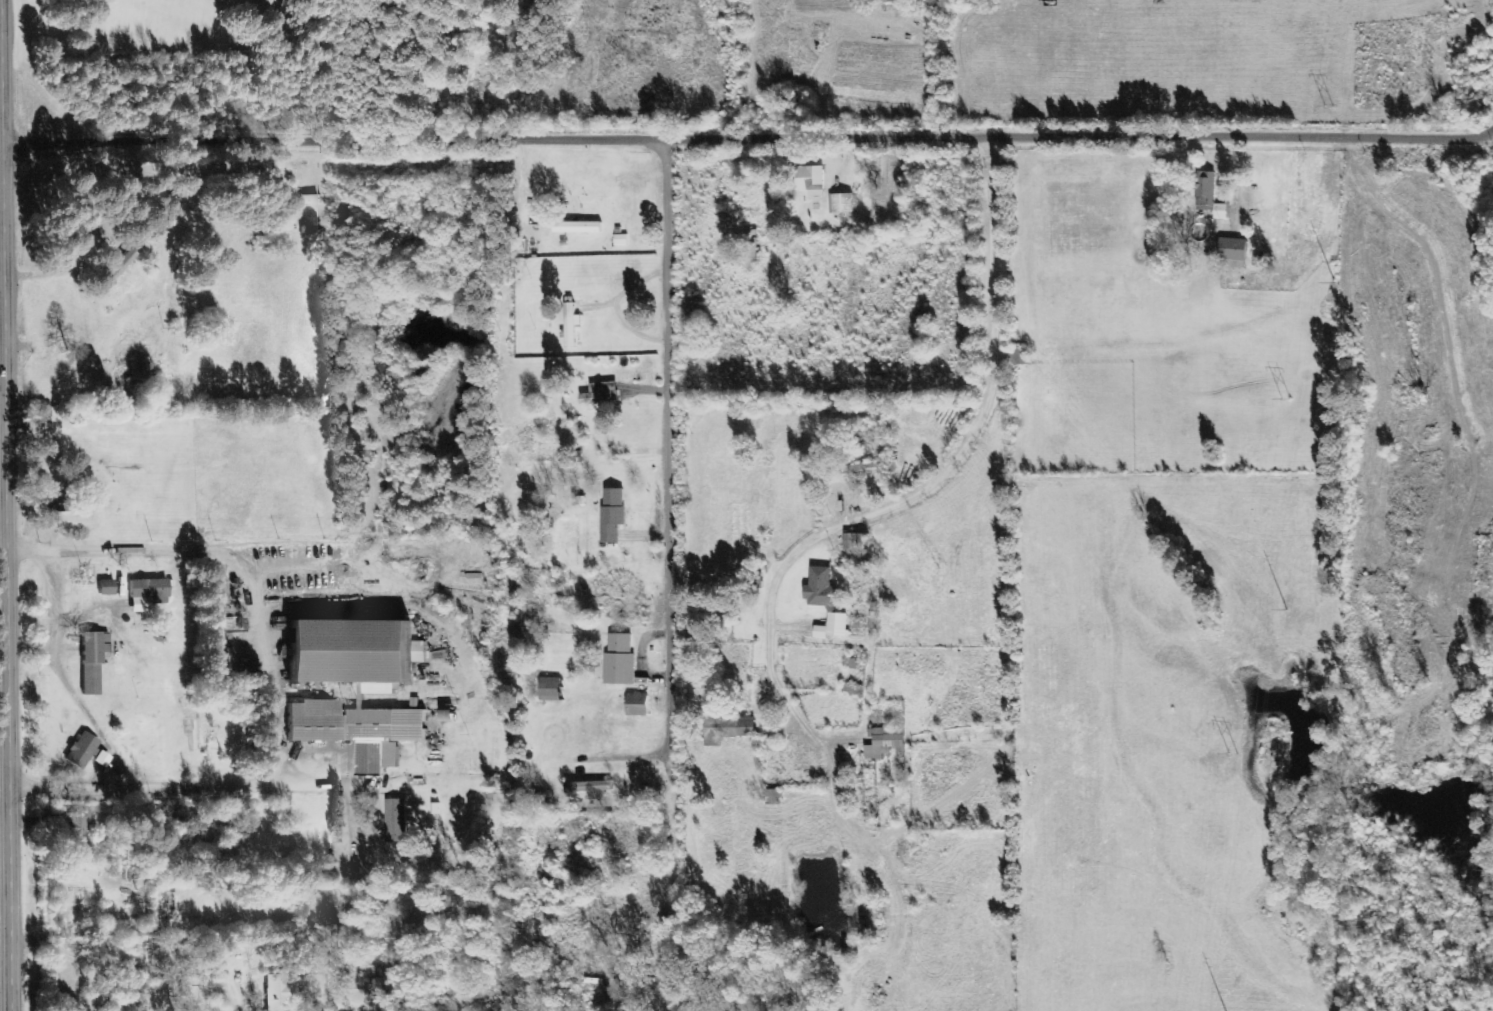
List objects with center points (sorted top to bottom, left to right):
road: (746, 138)
building: (810, 180)
building: (302, 200)
building: (840, 203)
building: (576, 227)
building: (620, 240)
building: (1233, 249)
building: (115, 269)
building: (571, 325)
building: (134, 374)
building: (600, 393)
building: (858, 468)
road: (676, 475)
road: (940, 487)
building: (612, 514)
building: (856, 542)
road: (4, 579)
building: (103, 588)
building: (821, 589)
building: (144, 594)
building: (833, 627)
building: (619, 660)
building: (90, 661)
building: (549, 689)
building: (360, 697)
building: (636, 705)
building: (727, 729)
building: (883, 742)
building: (83, 753)
road: (193, 787)
building: (590, 789)
building: (395, 821)
building: (75, 834)
building: (374, 971)
building: (279, 992)

